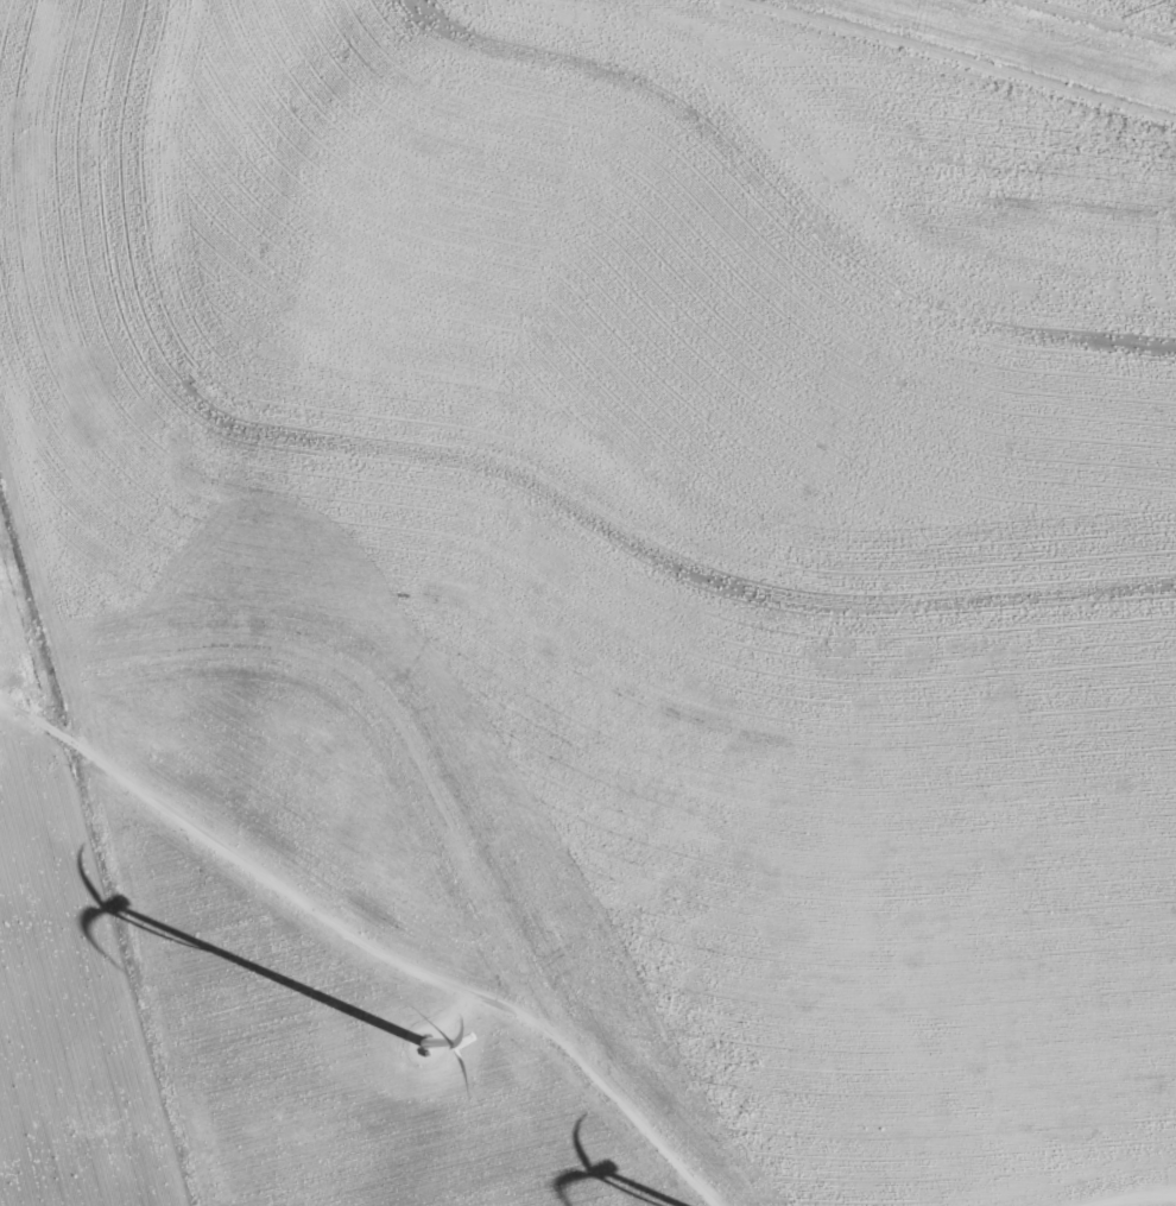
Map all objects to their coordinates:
wind turbine: (422, 1054)

